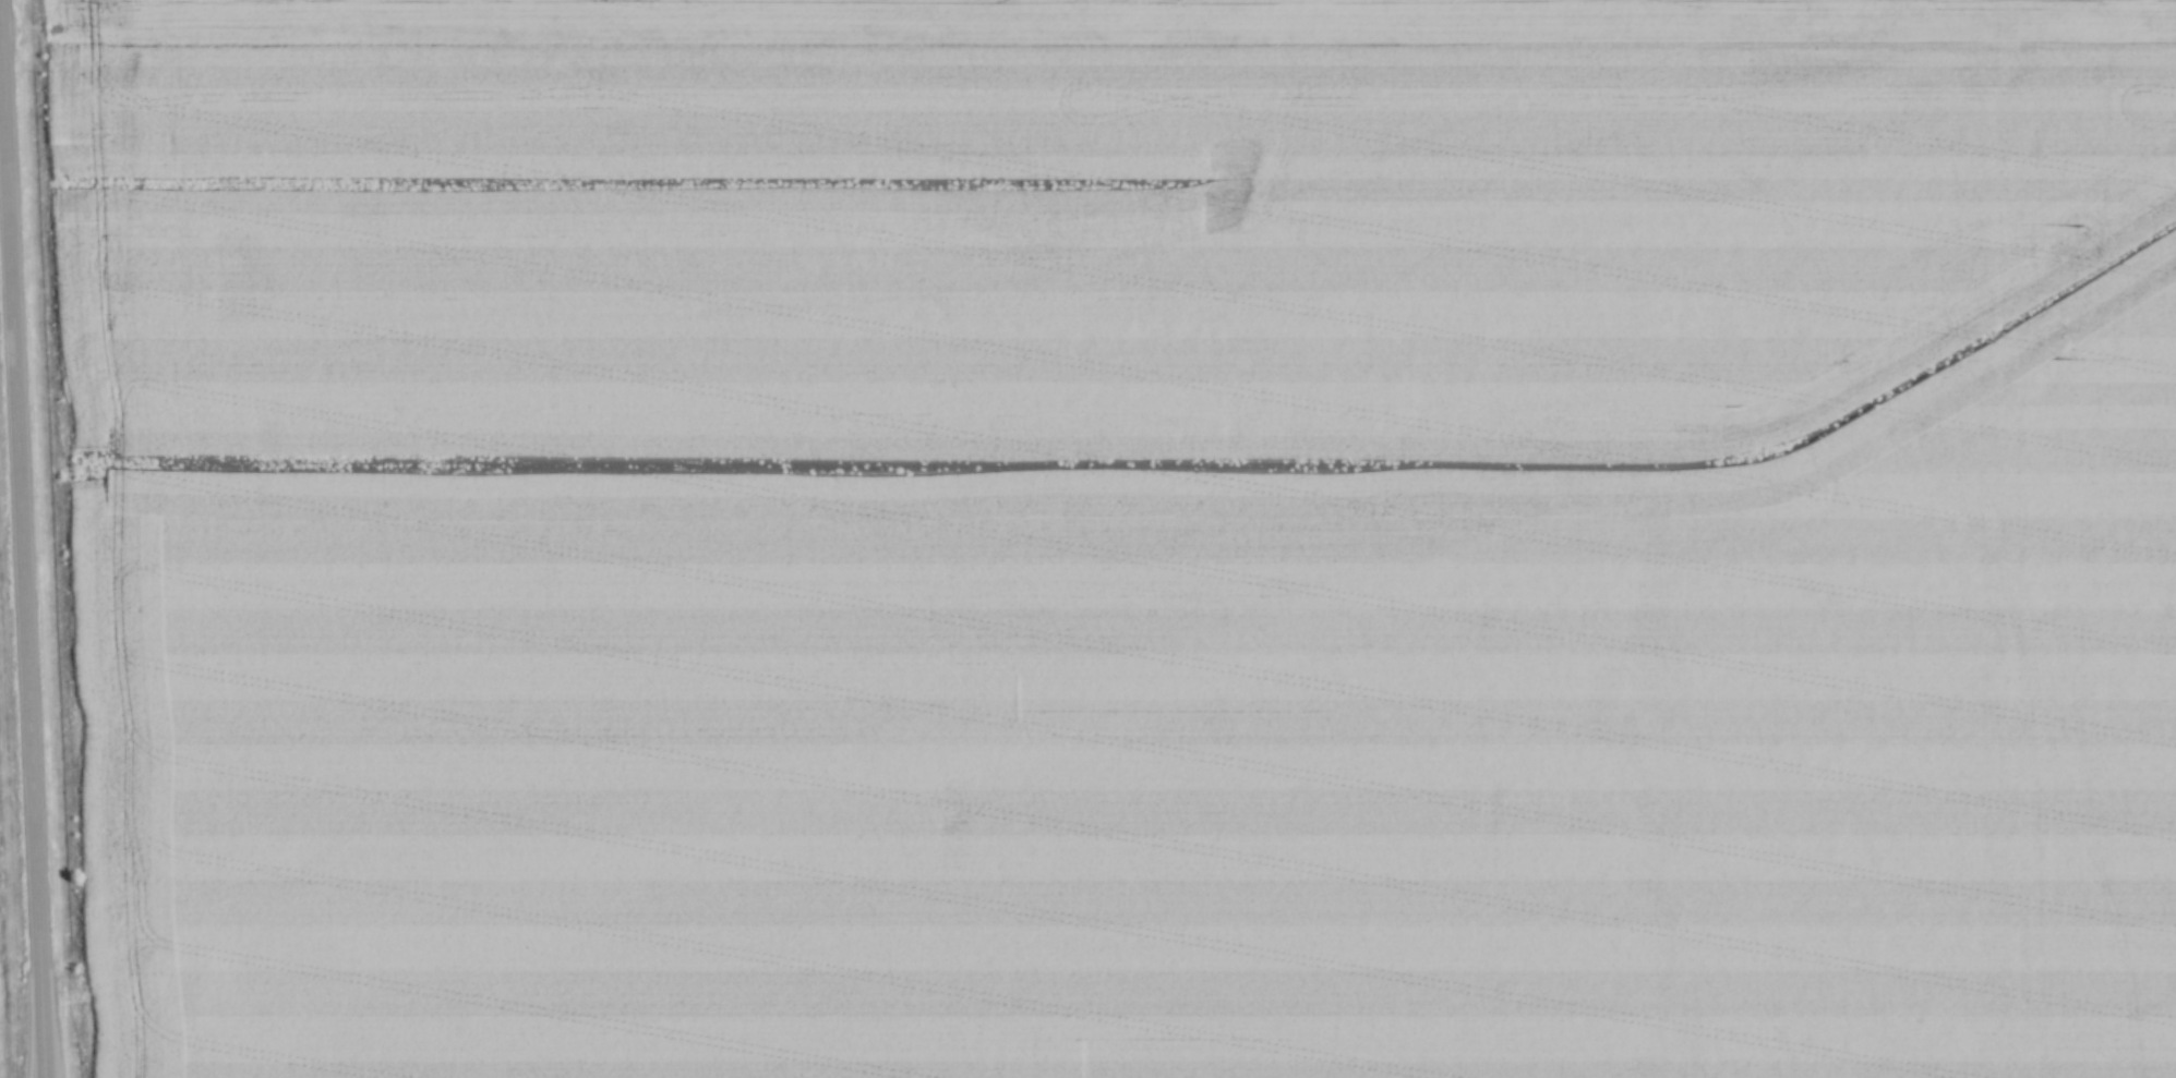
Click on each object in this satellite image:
road: (22, 557)

